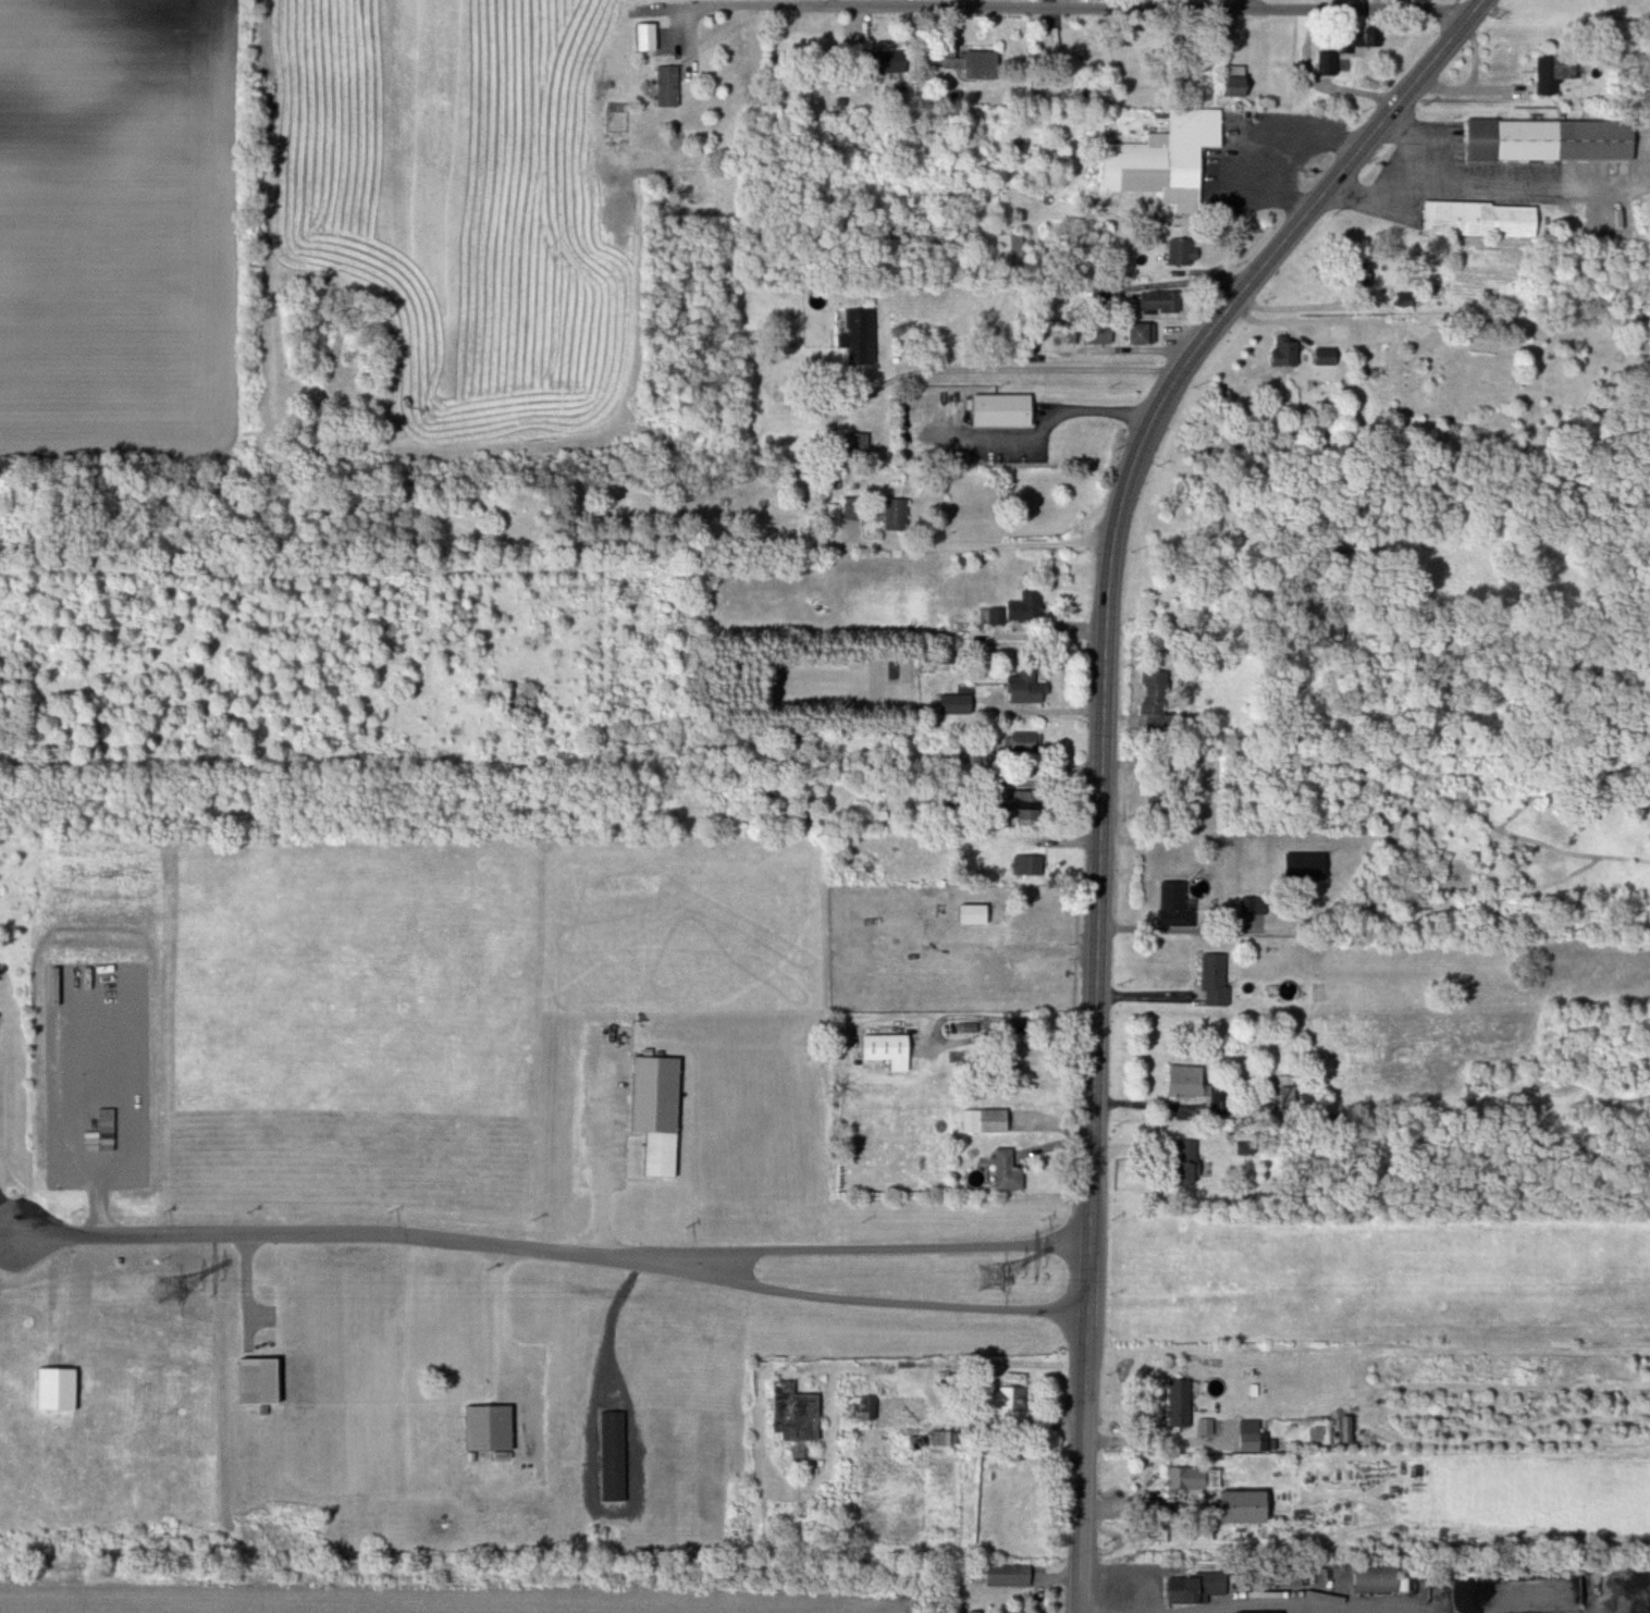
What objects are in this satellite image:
road: (1249, 4)
road: (1089, 10)
building: (1364, 38)
building: (889, 61)
building: (972, 62)
building: (1330, 63)
building: (1559, 70)
building: (1240, 82)
building: (672, 86)
building: (1197, 128)
building: (1555, 140)
building: (1489, 220)
building: (1014, 245)
building: (1185, 251)
building: (1163, 300)
building: (1146, 332)
building: (1099, 333)
building: (861, 337)
building: (1289, 352)
building: (1330, 356)
road: (986, 370)
building: (1007, 409)
building: (899, 514)
road: (988, 555)
building: (1019, 610)
building: (1029, 688)
building: (1157, 695)
building: (959, 704)
road: (1048, 711)
building: (1027, 742)
road: (1106, 746)
building: (1032, 806)
building: (1030, 865)
building: (1308, 867)
building: (1177, 904)
building: (983, 914)
building: (1218, 978)
building: (892, 1049)
building: (1189, 1079)
building: (661, 1111)
building: (988, 1120)
building: (1191, 1156)
building: (1010, 1171)
road: (604, 1192)
road: (9, 1215)
road: (308, 1231)
road: (873, 1248)
road: (627, 1252)
power tower: (993, 1279)
power tower: (173, 1291)
road: (842, 1297)
building: (263, 1382)
building: (1010, 1399)
building: (1183, 1403)
building: (865, 1408)
building: (918, 1413)
building: (799, 1414)
building: (493, 1428)
building: (1256, 1441)
building: (616, 1456)
building: (1191, 1478)
building: (1011, 1575)
building: (1381, 1578)
building: (1199, 1588)
road: (1302, 1600)
building: (1271, 1612)

